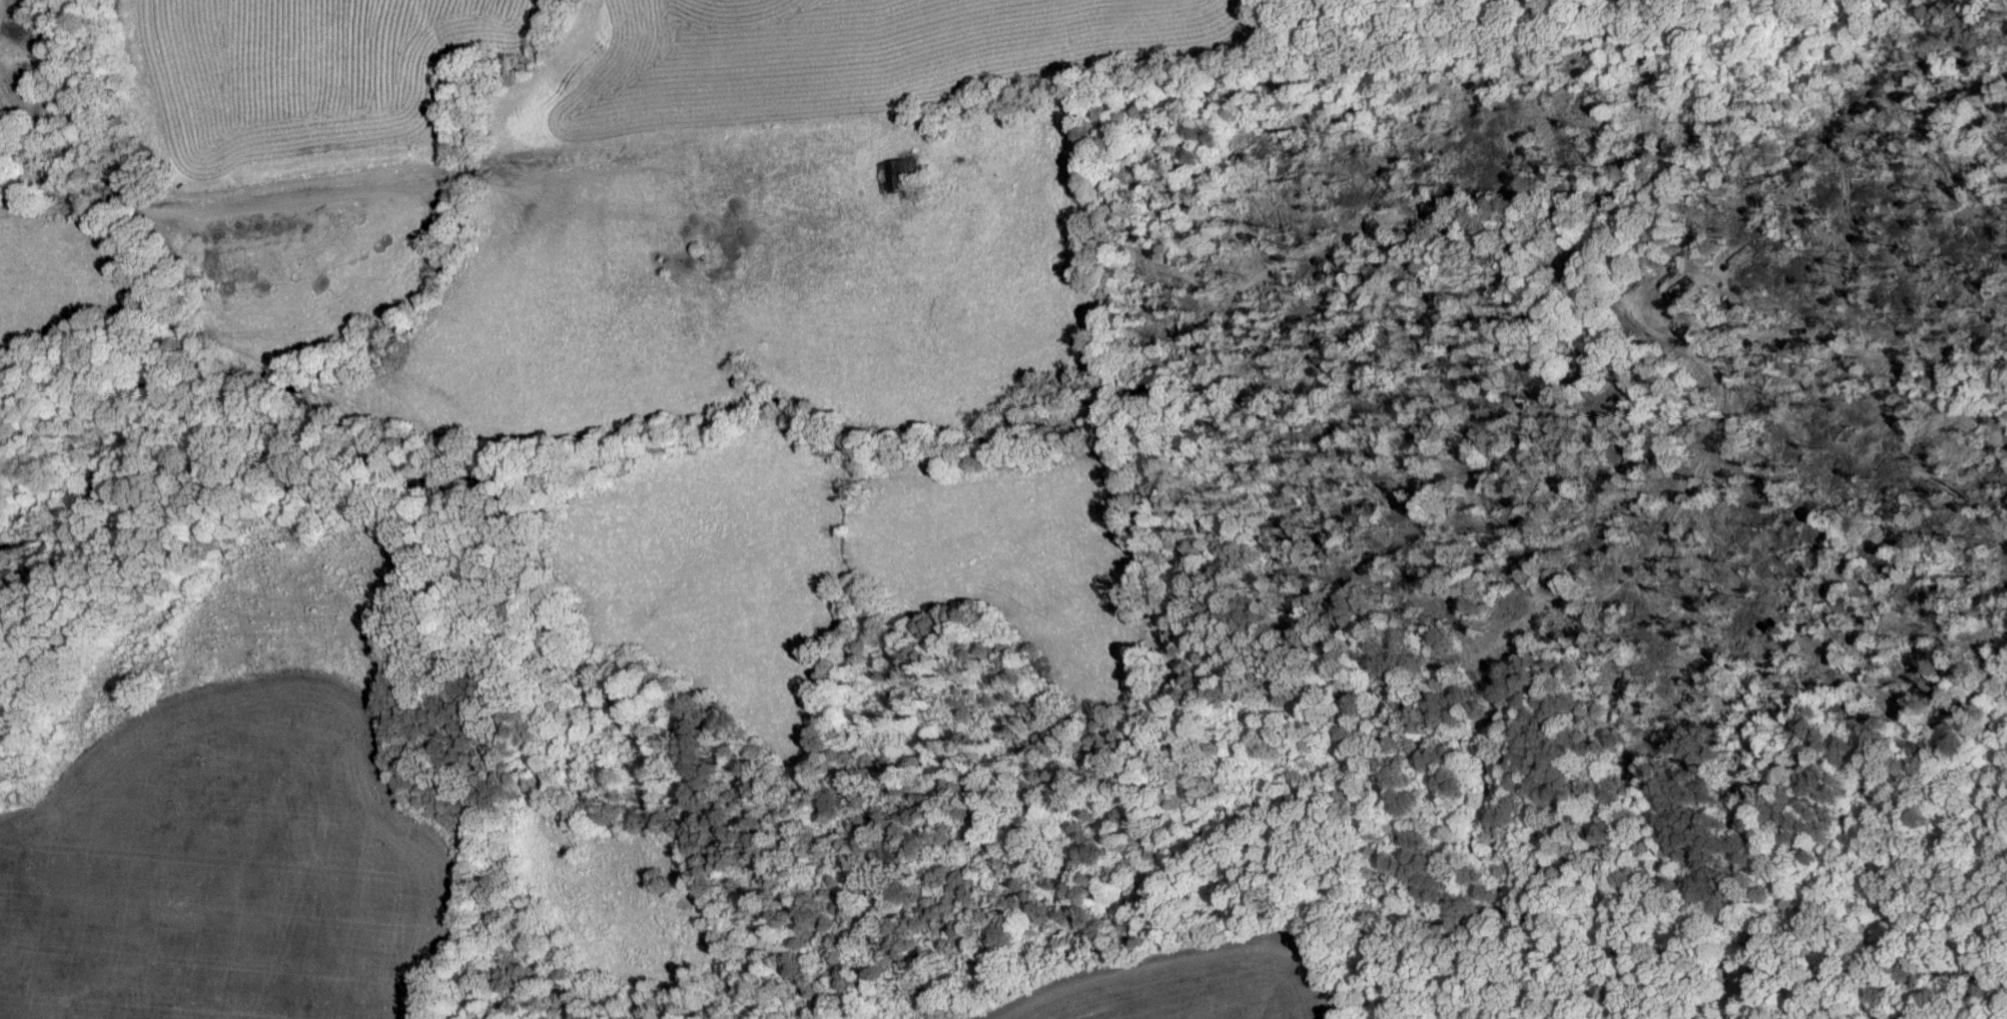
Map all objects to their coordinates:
road: (63, 209)

